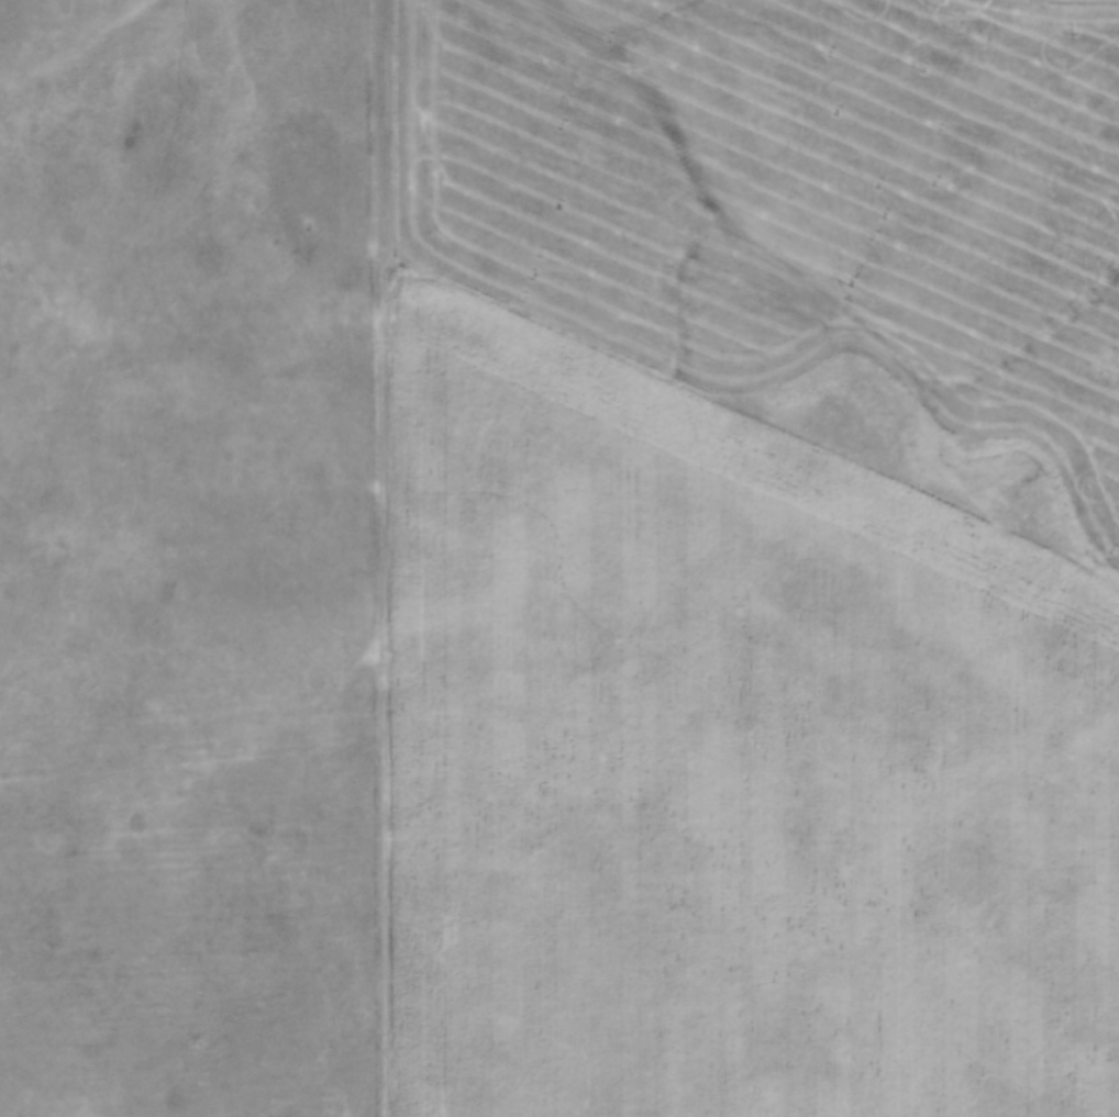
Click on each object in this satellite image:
road: (391, 558)

